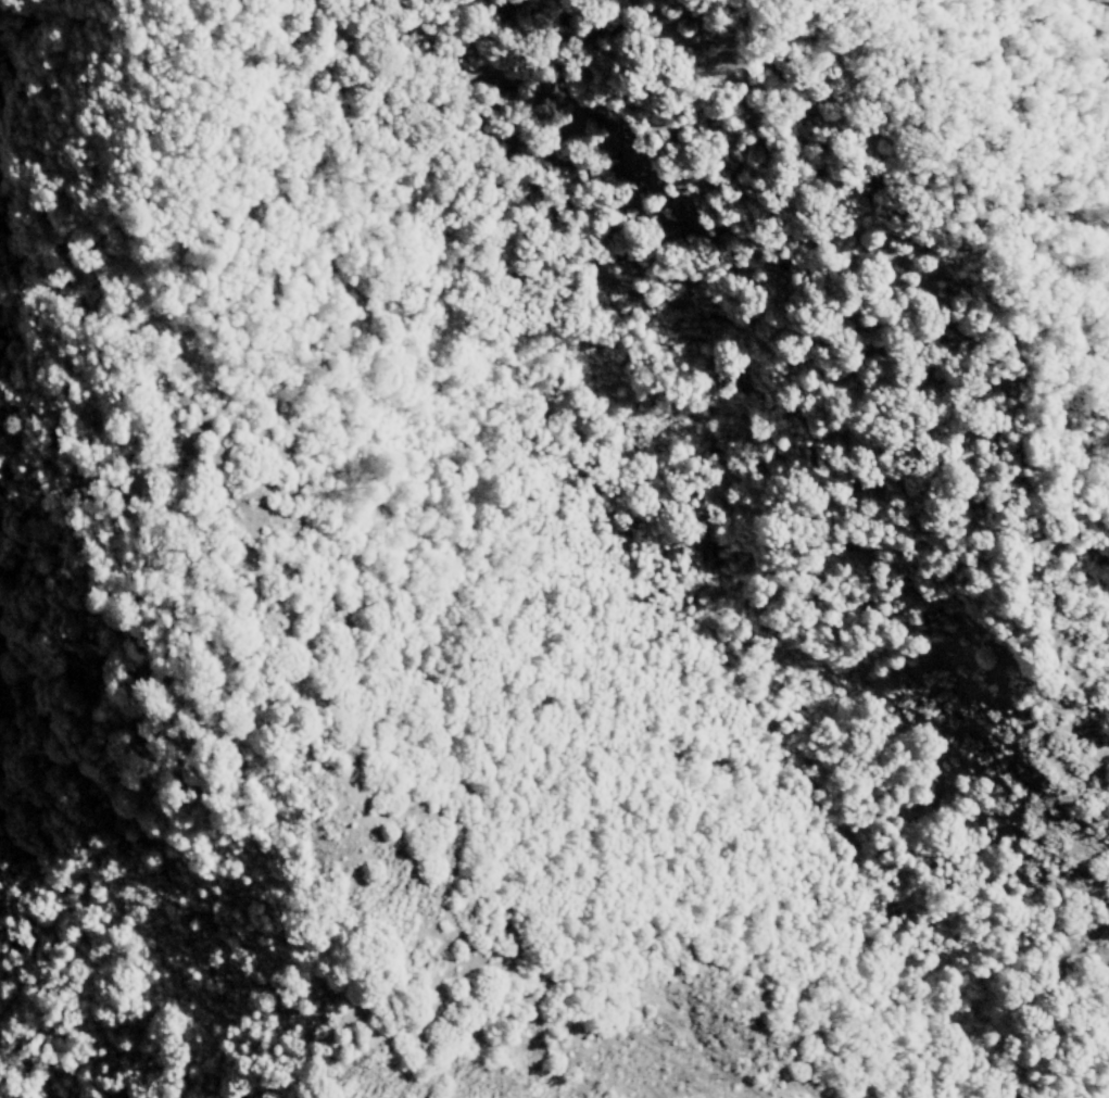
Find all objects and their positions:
road: (956, 1000)

